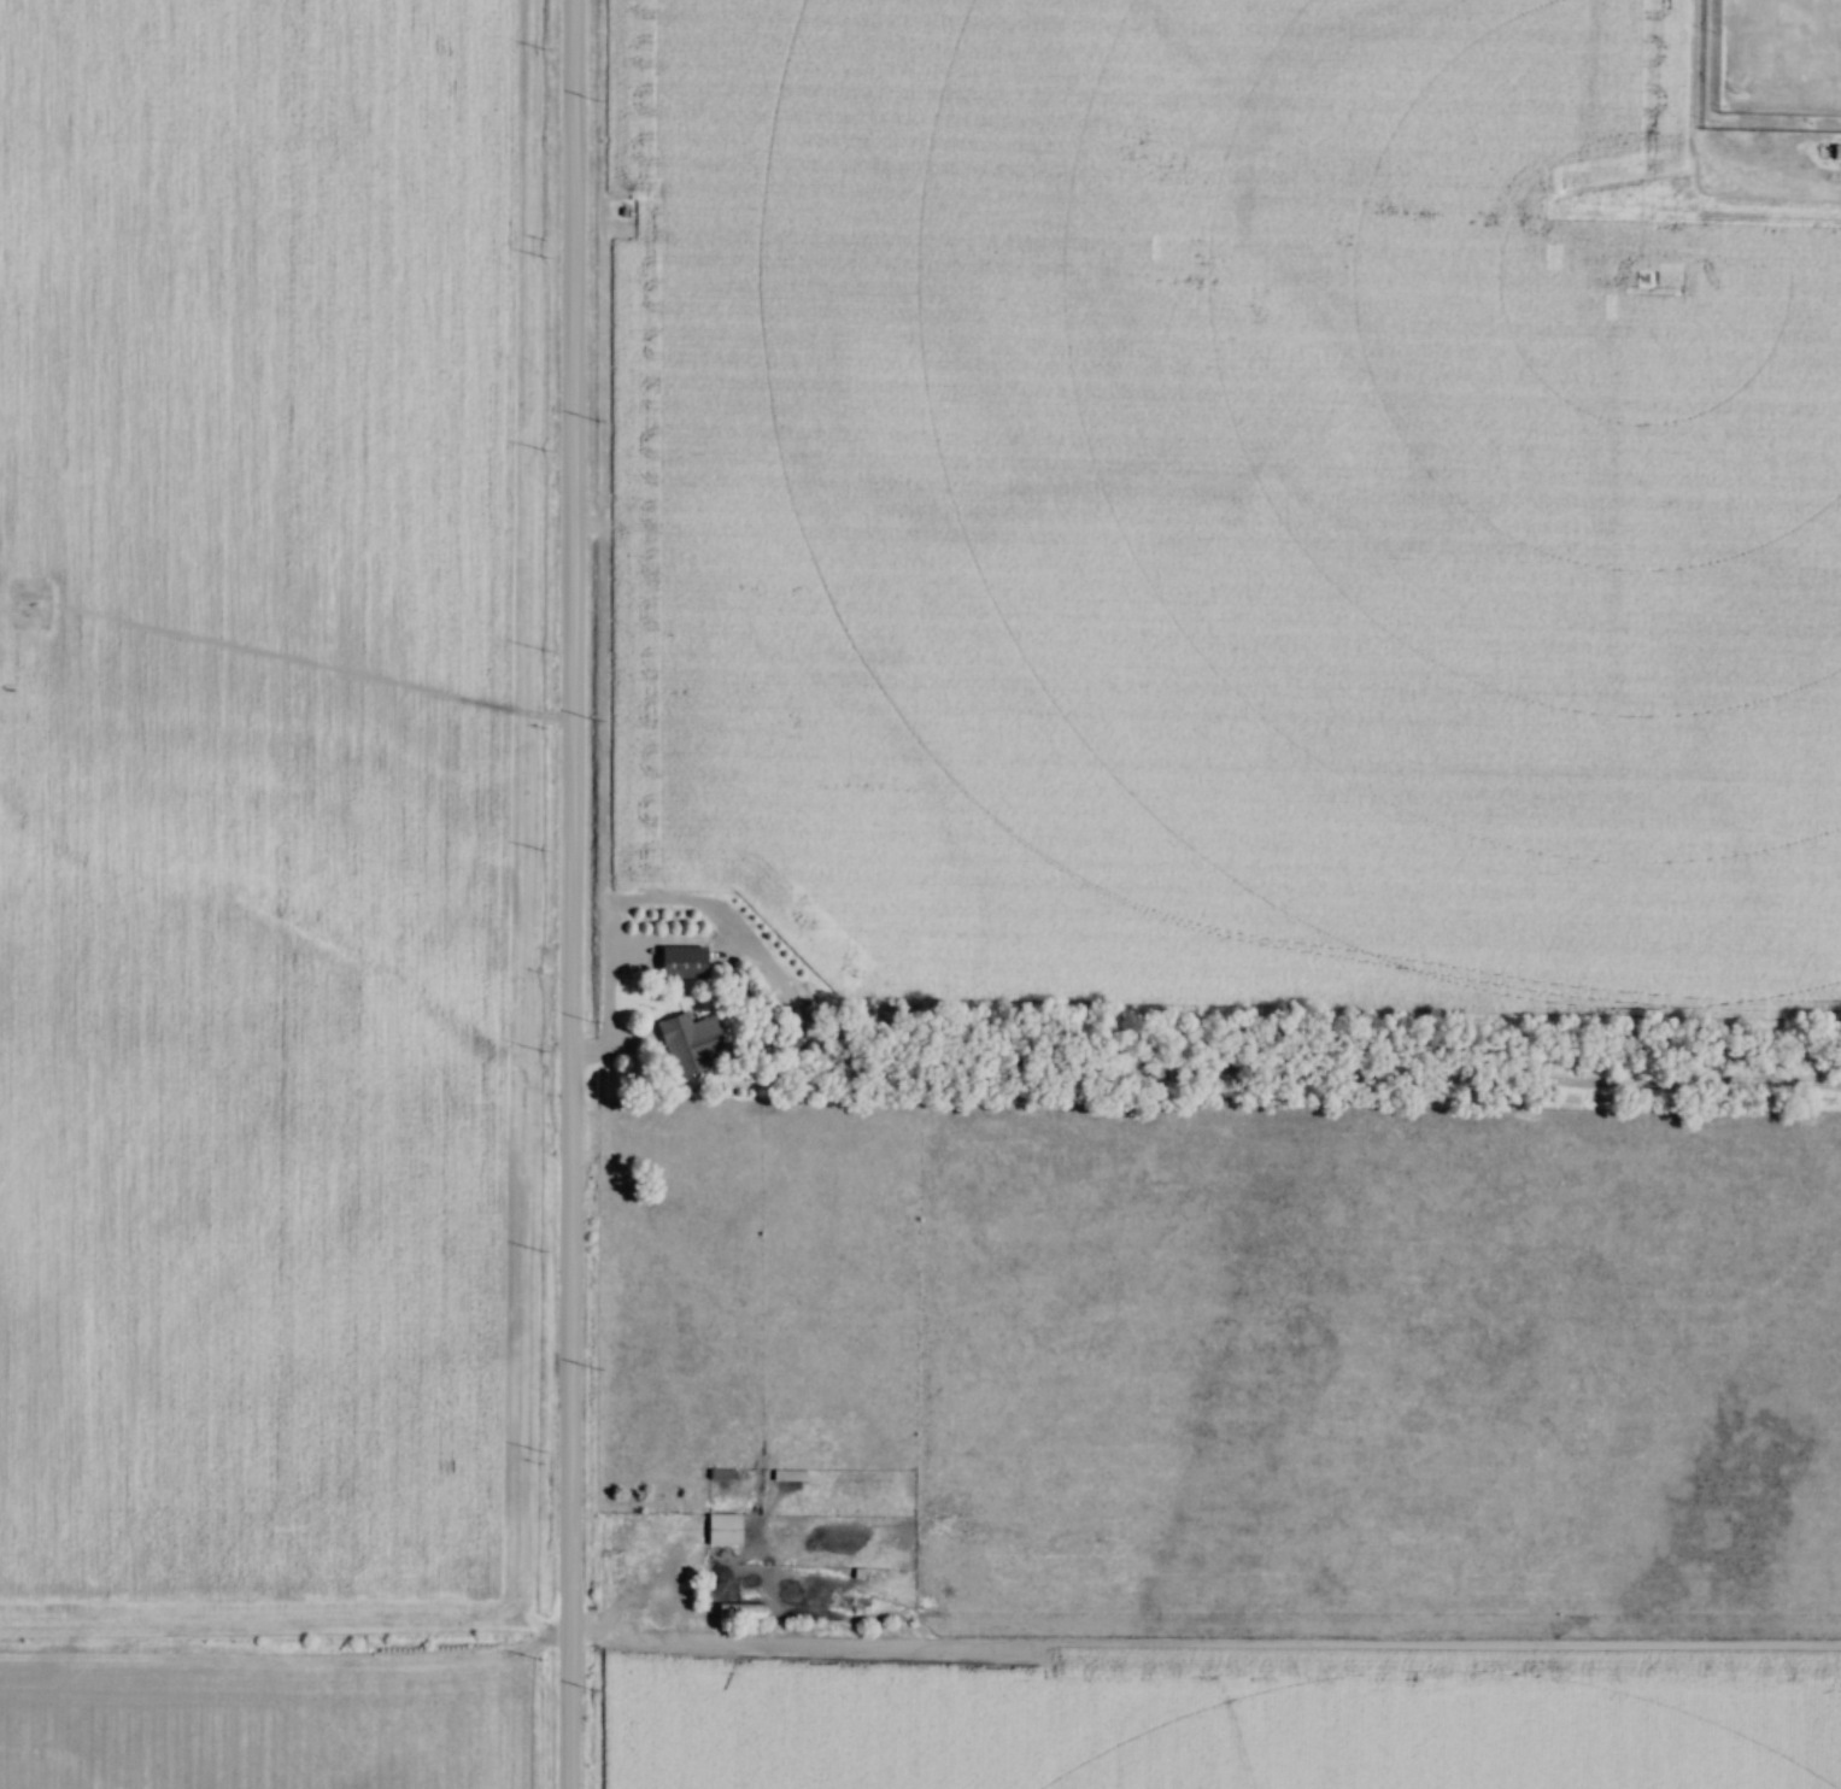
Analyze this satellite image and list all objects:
crop: (1230, 510)
crop: (268, 816)
road: (577, 893)
building: (679, 963)
building: (686, 1040)
building: (786, 1476)
building: (733, 1517)
building: (720, 1530)
road: (643, 1596)
building: (737, 1612)
crop: (271, 1708)
crop: (1225, 1715)

